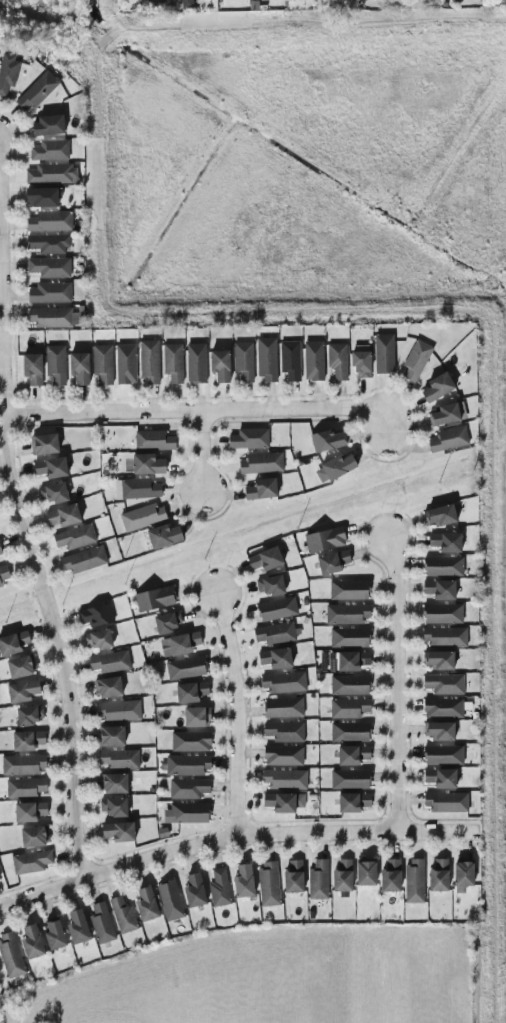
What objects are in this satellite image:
building: (7, 71)
building: (36, 91)
building: (48, 125)
building: (49, 150)
building: (51, 173)
building: (41, 197)
building: (50, 221)
building: (49, 244)
building: (49, 267)
road: (2, 290)
building: (50, 292)
building: (54, 317)
building: (383, 353)
building: (266, 359)
building: (290, 360)
building: (313, 360)
building: (337, 360)
building: (361, 360)
building: (416, 360)
building: (149, 362)
building: (243, 362)
building: (102, 363)
building: (172, 363)
building: (196, 363)
building: (55, 364)
building: (125, 364)
building: (220, 365)
building: (79, 368)
building: (32, 369)
building: (438, 387)
road: (199, 413)
building: (447, 414)
building: (249, 438)
building: (448, 439)
building: (153, 440)
building: (327, 440)
building: (44, 444)
road: (202, 453)
building: (260, 463)
building: (147, 464)
building: (51, 467)
building: (334, 468)
building: (137, 488)
building: (261, 489)
building: (53, 493)
building: (63, 515)
building: (439, 515)
building: (141, 516)
road: (30, 531)
building: (163, 536)
building: (74, 537)
building: (325, 539)
building: (446, 542)
building: (0, 552)
building: (265, 559)
building: (83, 560)
building: (332, 562)
building: (443, 566)
building: (3, 574)
building: (270, 585)
building: (348, 590)
building: (440, 590)
building: (154, 599)
building: (277, 609)
building: (347, 613)
building: (443, 613)
building: (95, 615)
building: (168, 621)
building: (275, 633)
building: (444, 636)
building: (349, 637)
building: (97, 639)
building: (13, 643)
building: (183, 643)
building: (275, 658)
building: (438, 660)
building: (347, 661)
building: (109, 662)
building: (19, 667)
building: (186, 668)
building: (283, 682)
road: (396, 683)
building: (444, 684)
building: (349, 685)
building: (108, 687)
building: (22, 691)
building: (191, 692)
building: (283, 707)
building: (443, 707)
building: (350, 708)
building: (118, 710)
road: (235, 712)
building: (28, 715)
building: (196, 717)
building: (284, 731)
building: (439, 731)
building: (350, 732)
building: (111, 736)
building: (27, 740)
building: (191, 741)
building: (283, 755)
building: (352, 755)
building: (443, 755)
building: (116, 759)
building: (22, 765)
building: (188, 765)
building: (284, 778)
building: (440, 778)
building: (350, 779)
building: (114, 783)
building: (25, 787)
building: (188, 788)
building: (283, 802)
building: (353, 802)
building: (445, 802)
building: (113, 806)
building: (29, 811)
building: (186, 813)
building: (118, 832)
road: (233, 836)
building: (33, 837)
building: (30, 862)
building: (365, 873)
building: (439, 875)
building: (463, 875)
building: (293, 876)
building: (342, 876)
building: (390, 876)
building: (318, 880)
building: (243, 881)
building: (413, 882)
building: (268, 883)
building: (219, 888)
building: (194, 890)
building: (170, 900)
building: (146, 904)
building: (122, 915)
building: (101, 923)
building: (77, 926)
building: (54, 935)
building: (32, 942)
building: (11, 956)

